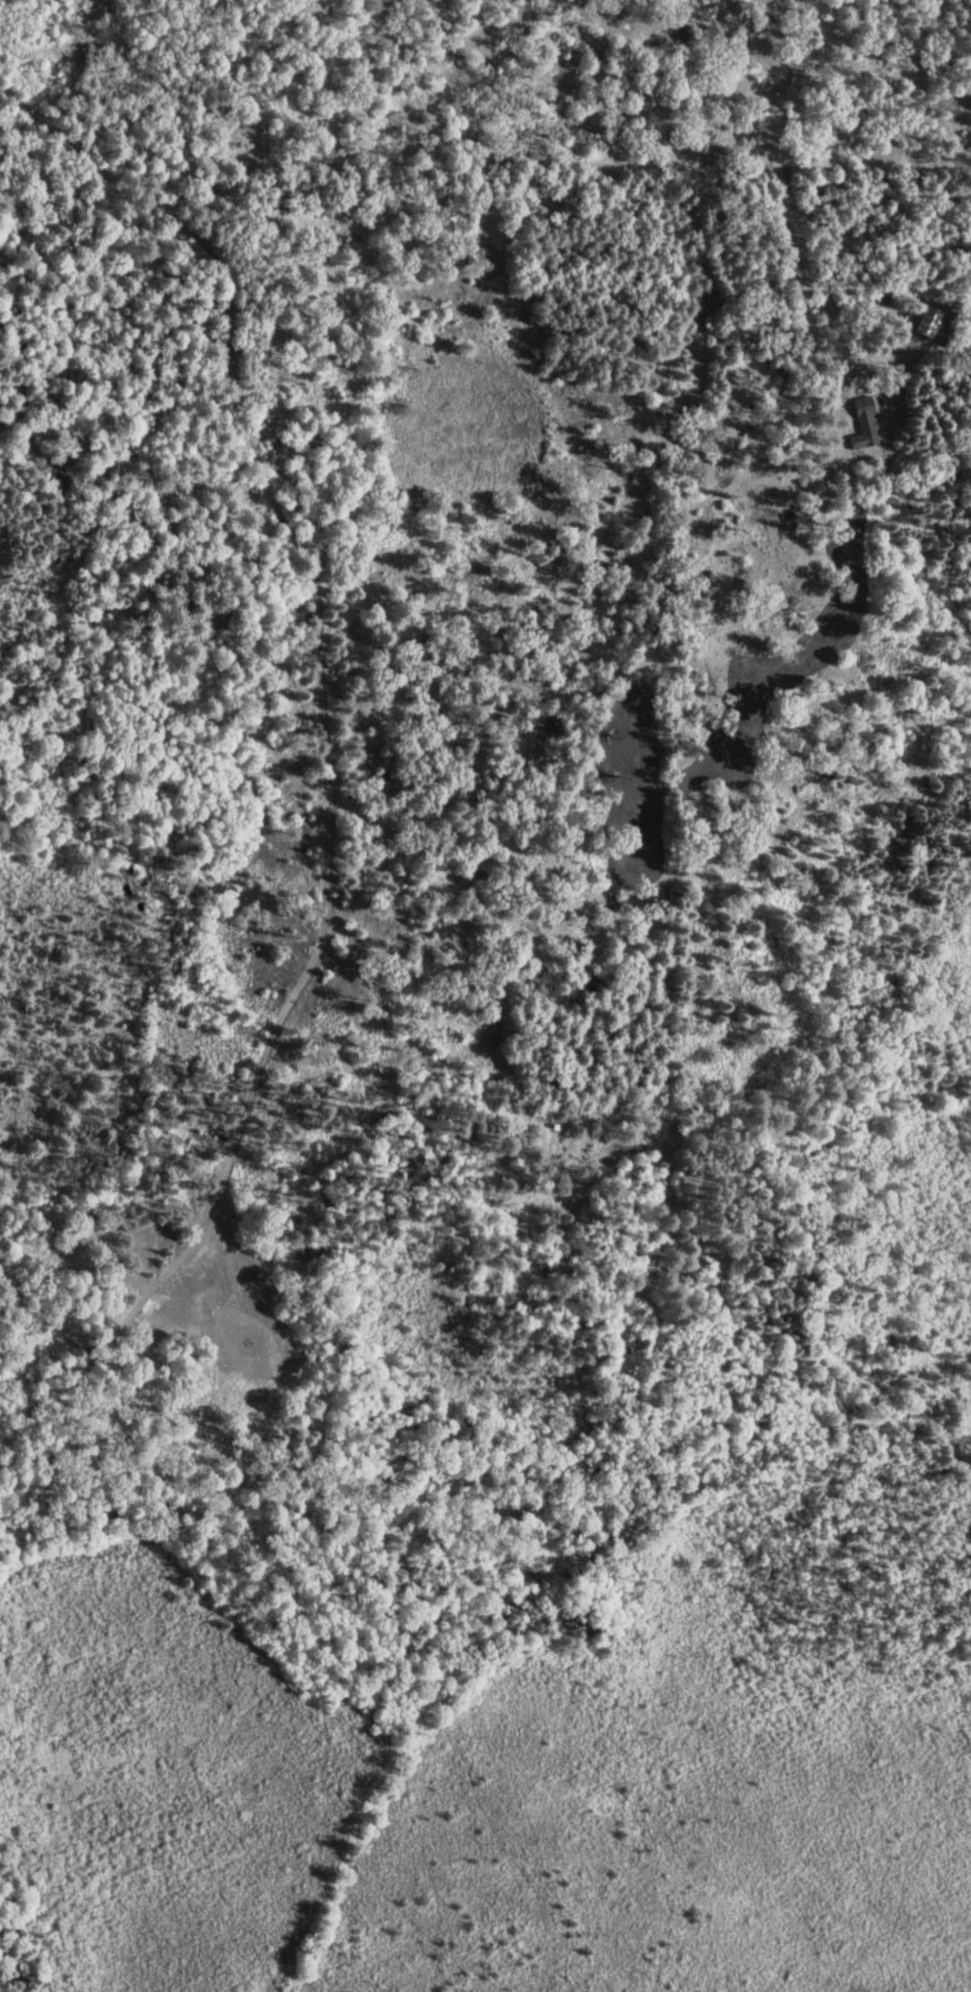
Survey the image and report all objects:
road: (772, 323)
building: (863, 425)
road: (263, 449)
road: (458, 771)
building: (93, 1223)

